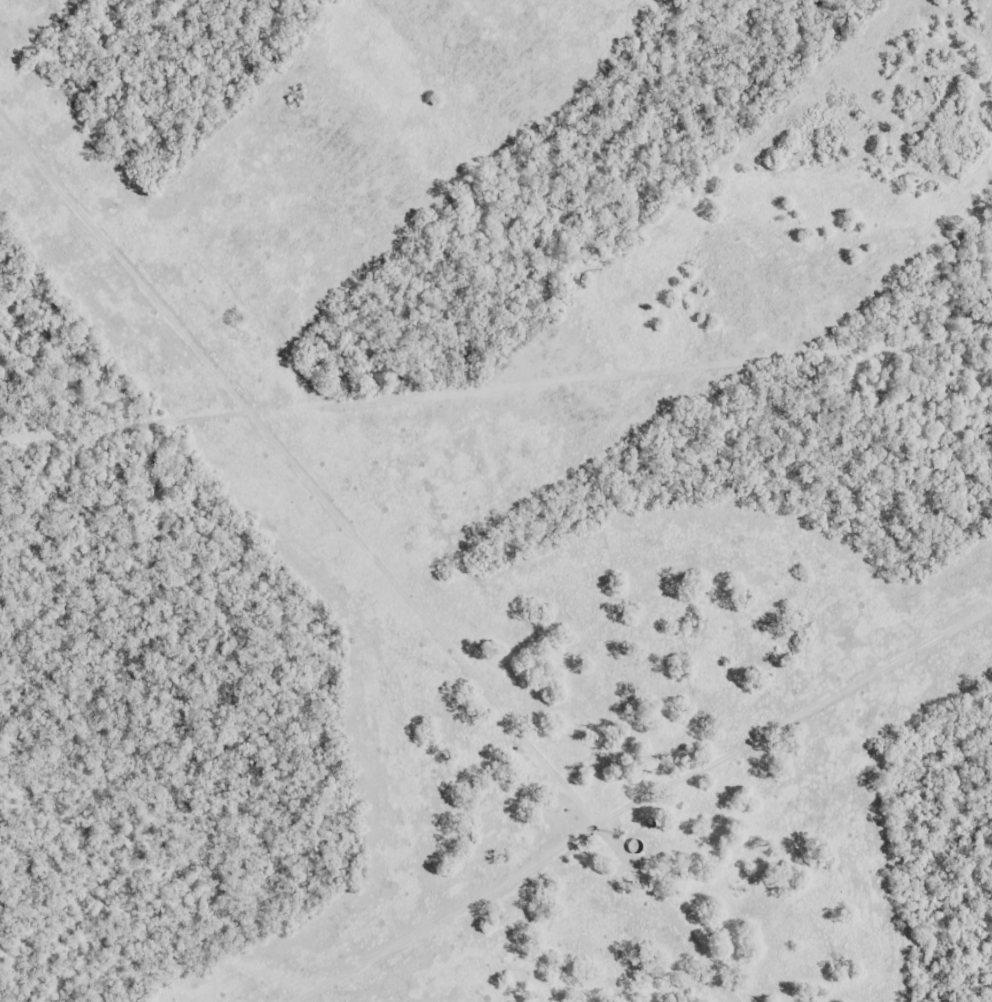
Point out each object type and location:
road: (675, 979)

